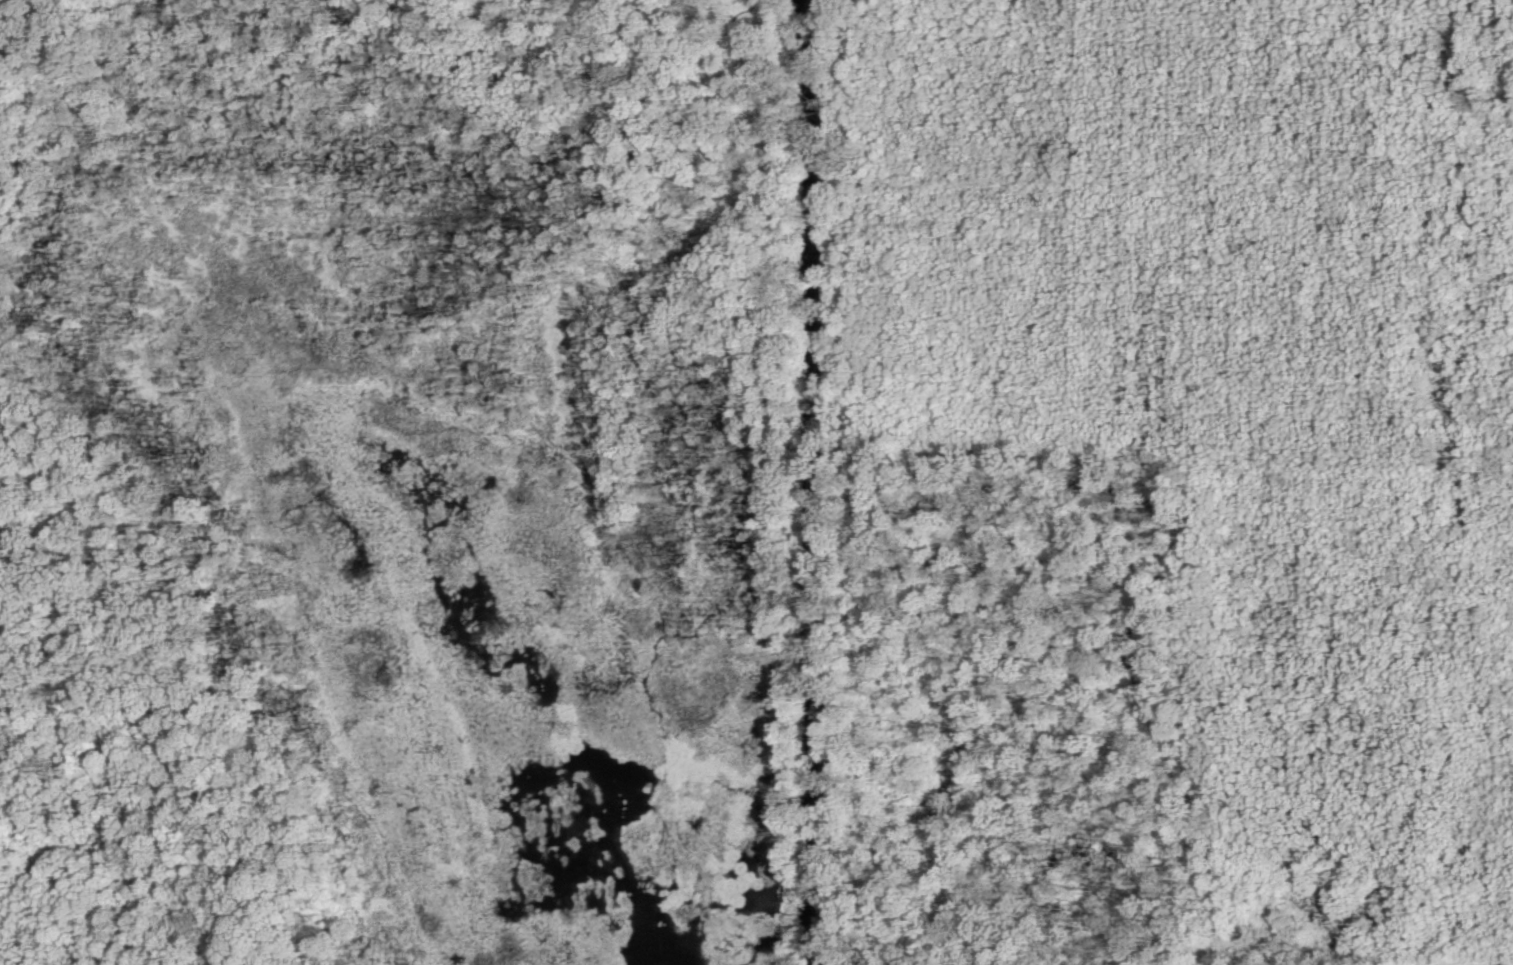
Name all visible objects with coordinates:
park: (756, 482)

